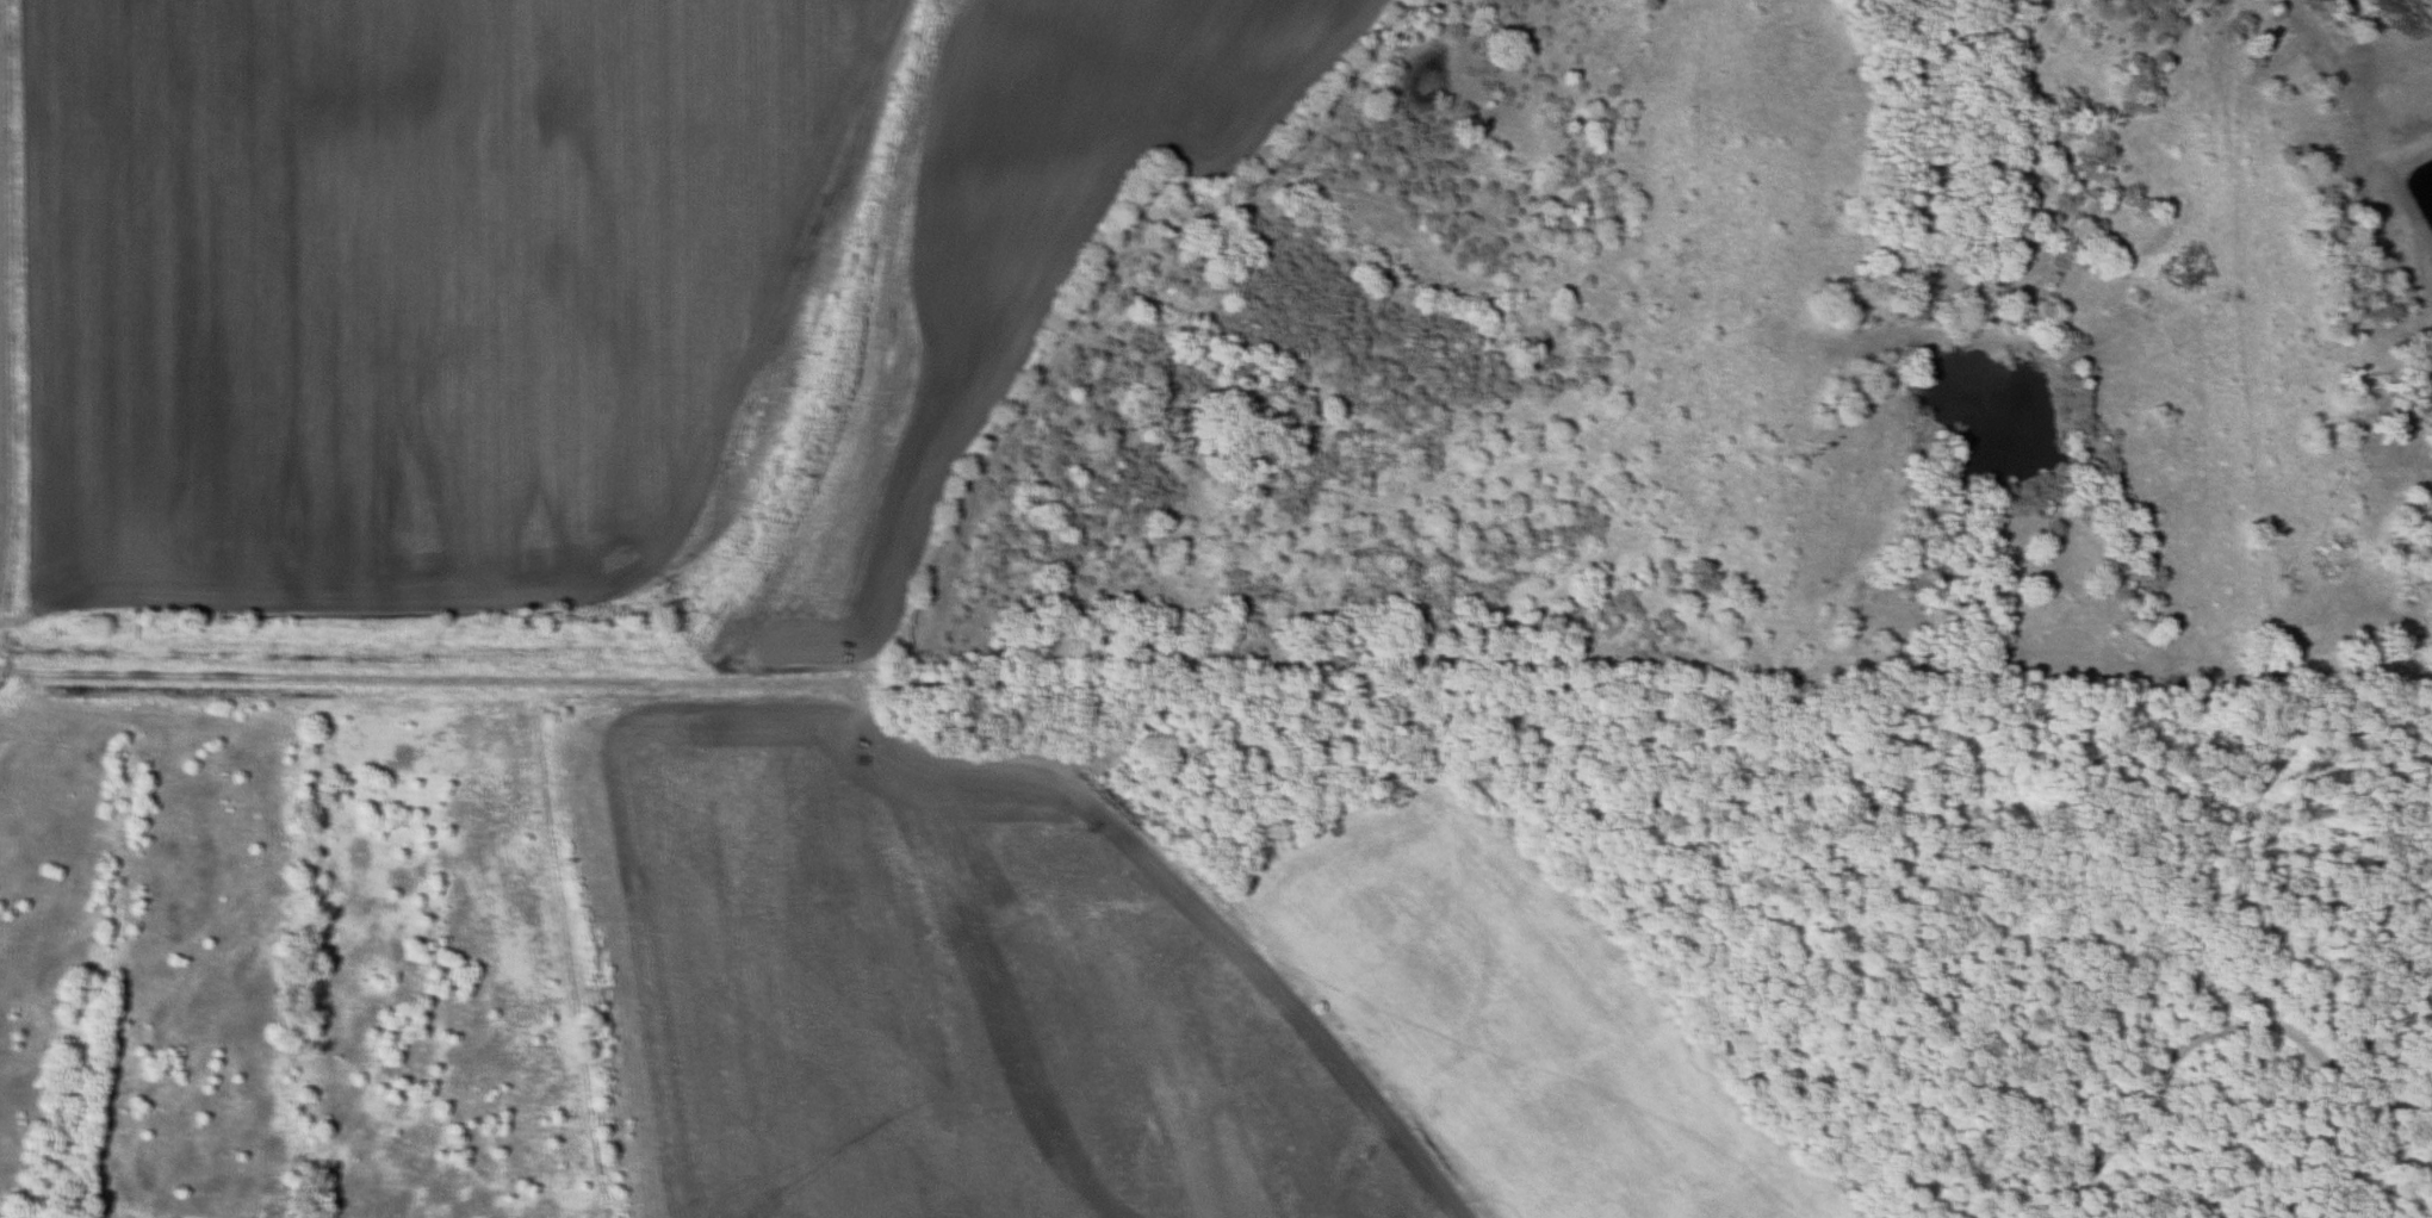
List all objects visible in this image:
road: (1226, 982)

